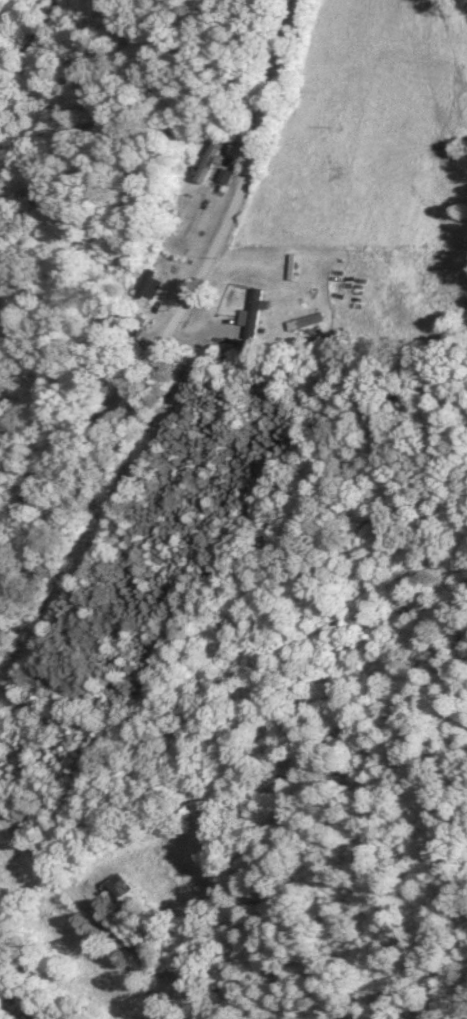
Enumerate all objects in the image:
building: (206, 163)
building: (149, 287)
road: (185, 302)
building: (250, 315)
road: (109, 918)

